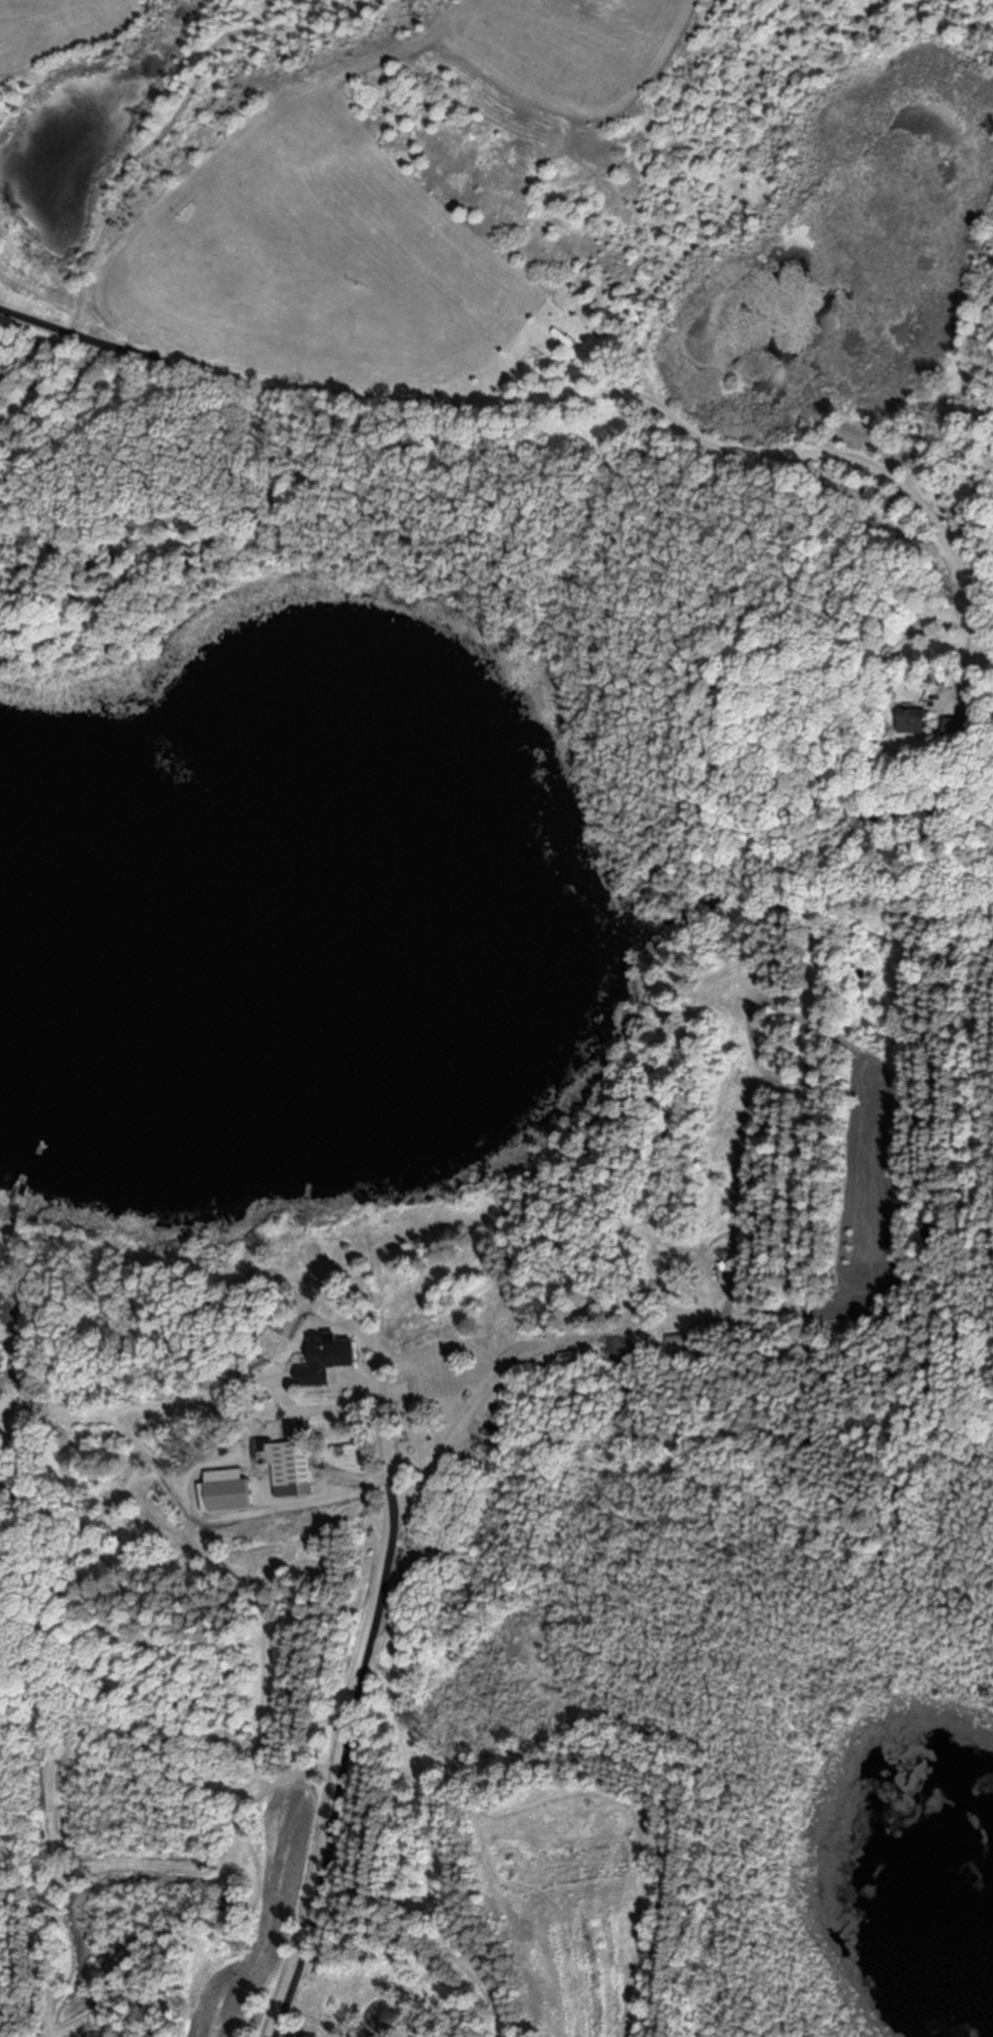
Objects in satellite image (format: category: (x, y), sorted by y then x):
road: (568, 392)
building: (915, 721)
building: (957, 730)
building: (674, 1343)
building: (0, 1356)
building: (323, 1360)
building: (1, 1393)
building: (287, 1471)
building: (221, 1492)
road: (348, 1717)

